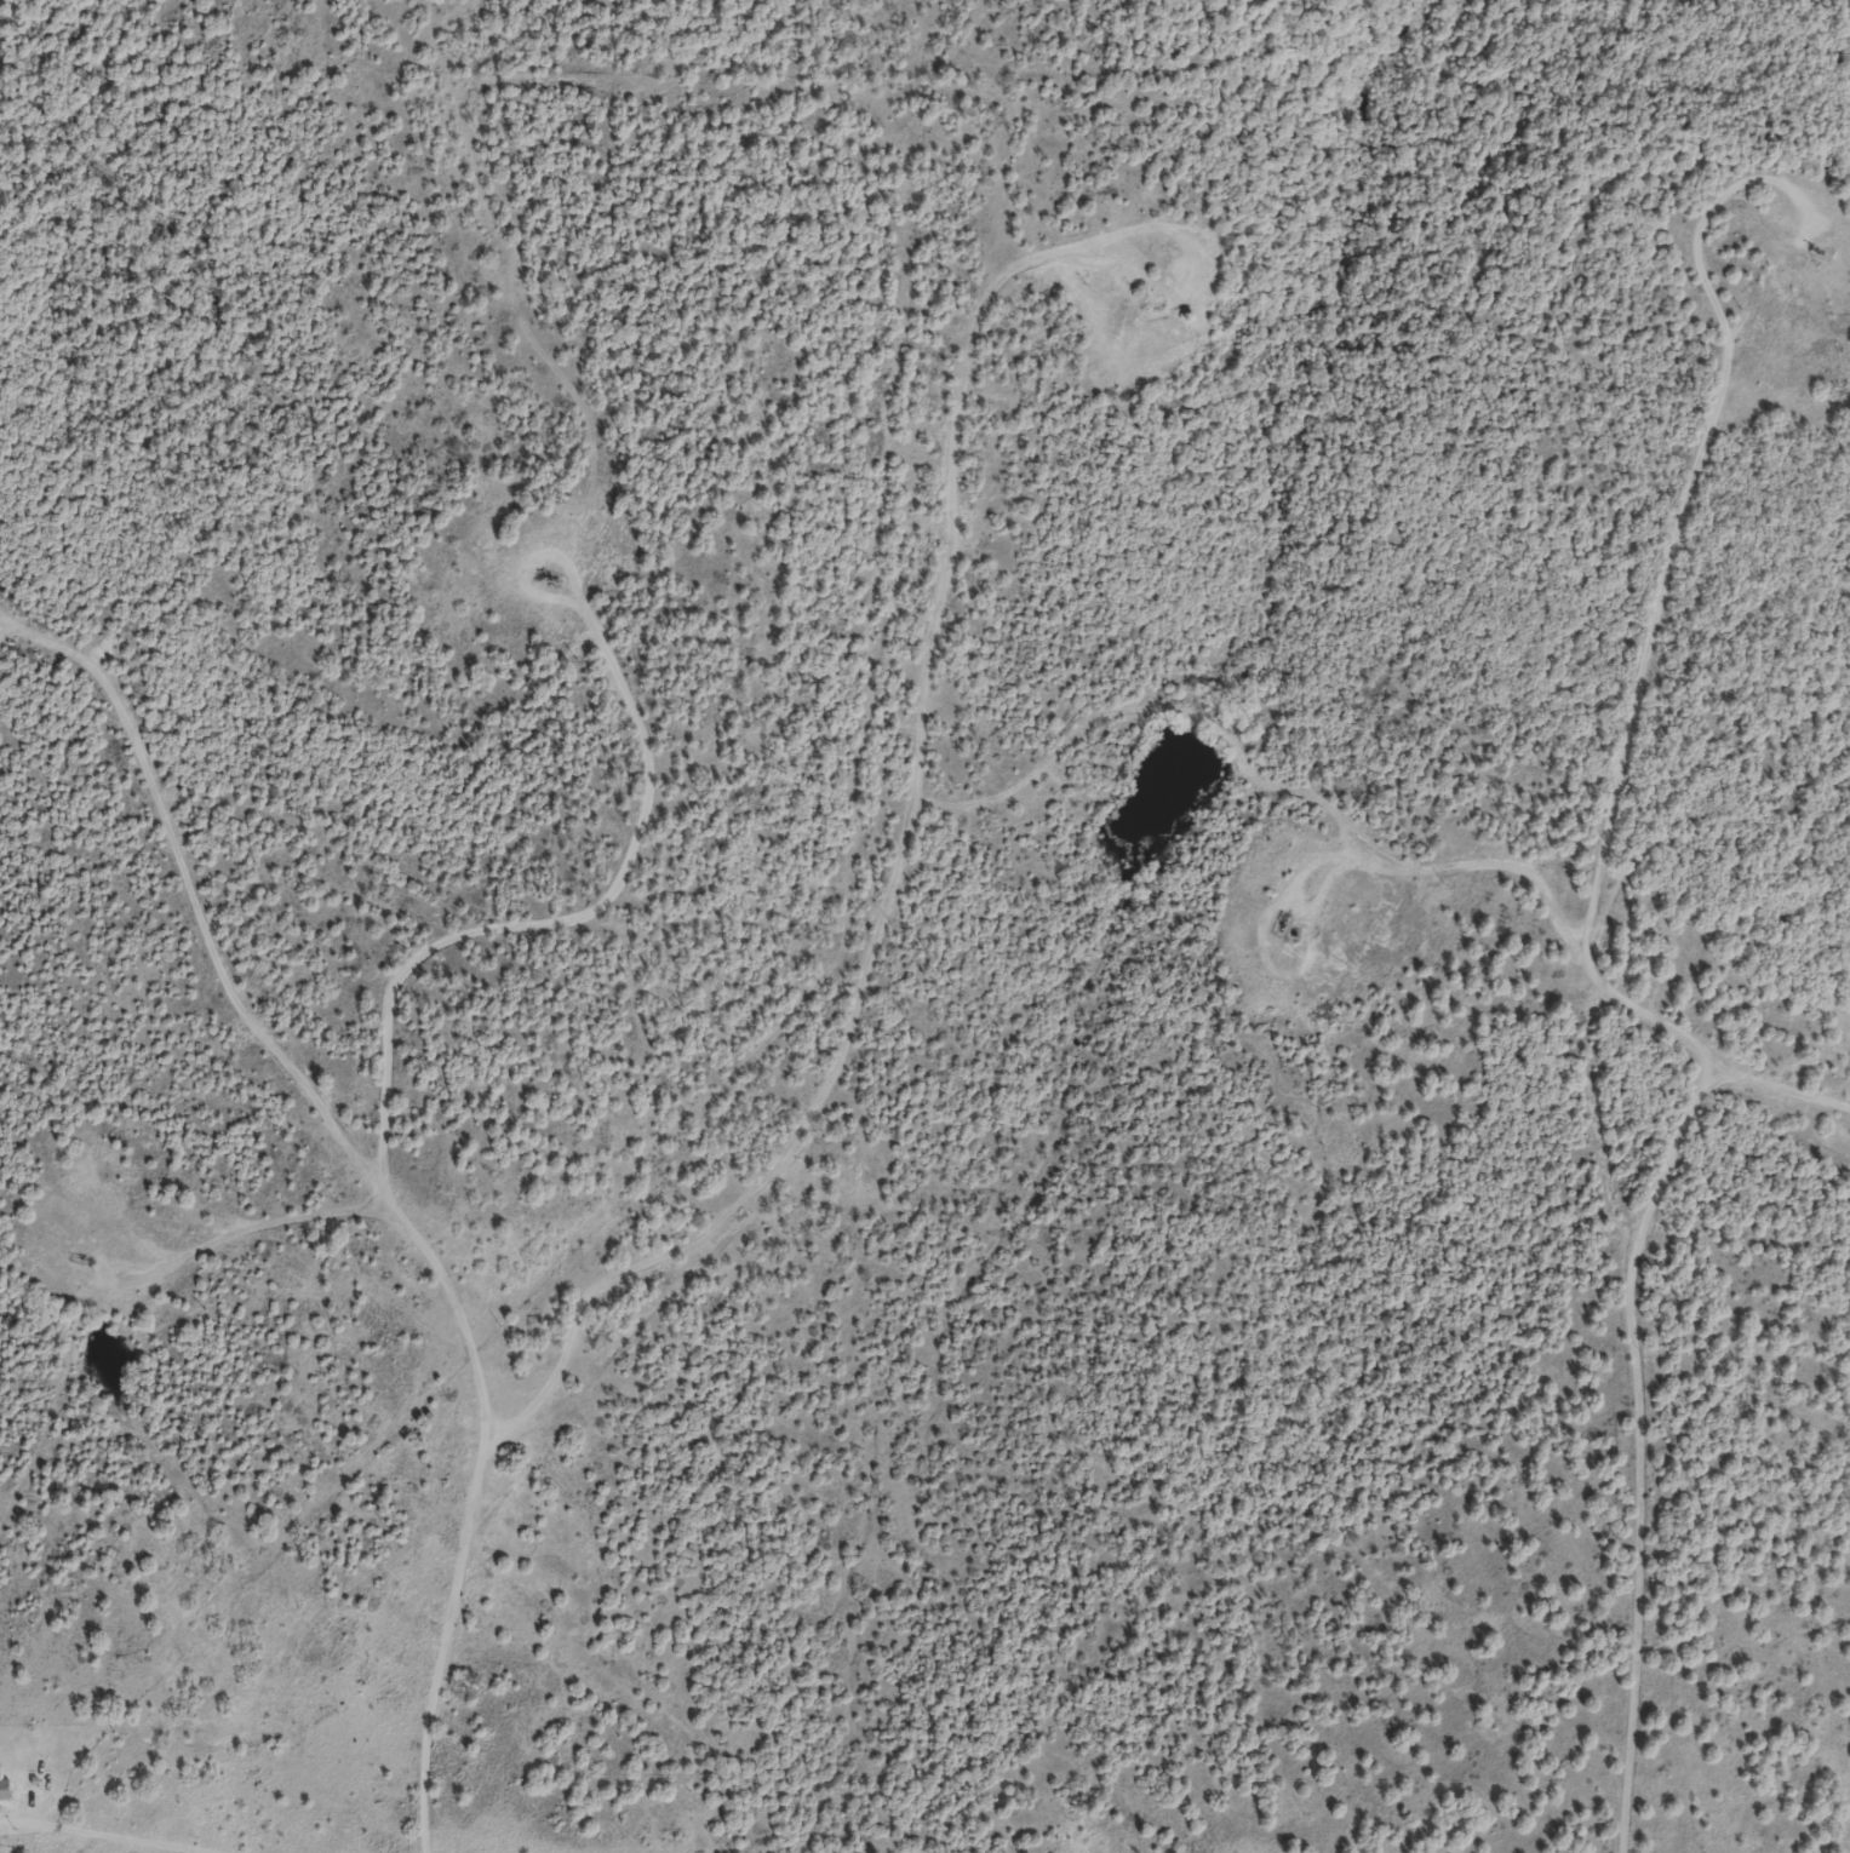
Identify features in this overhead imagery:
building: (4, 1791)

